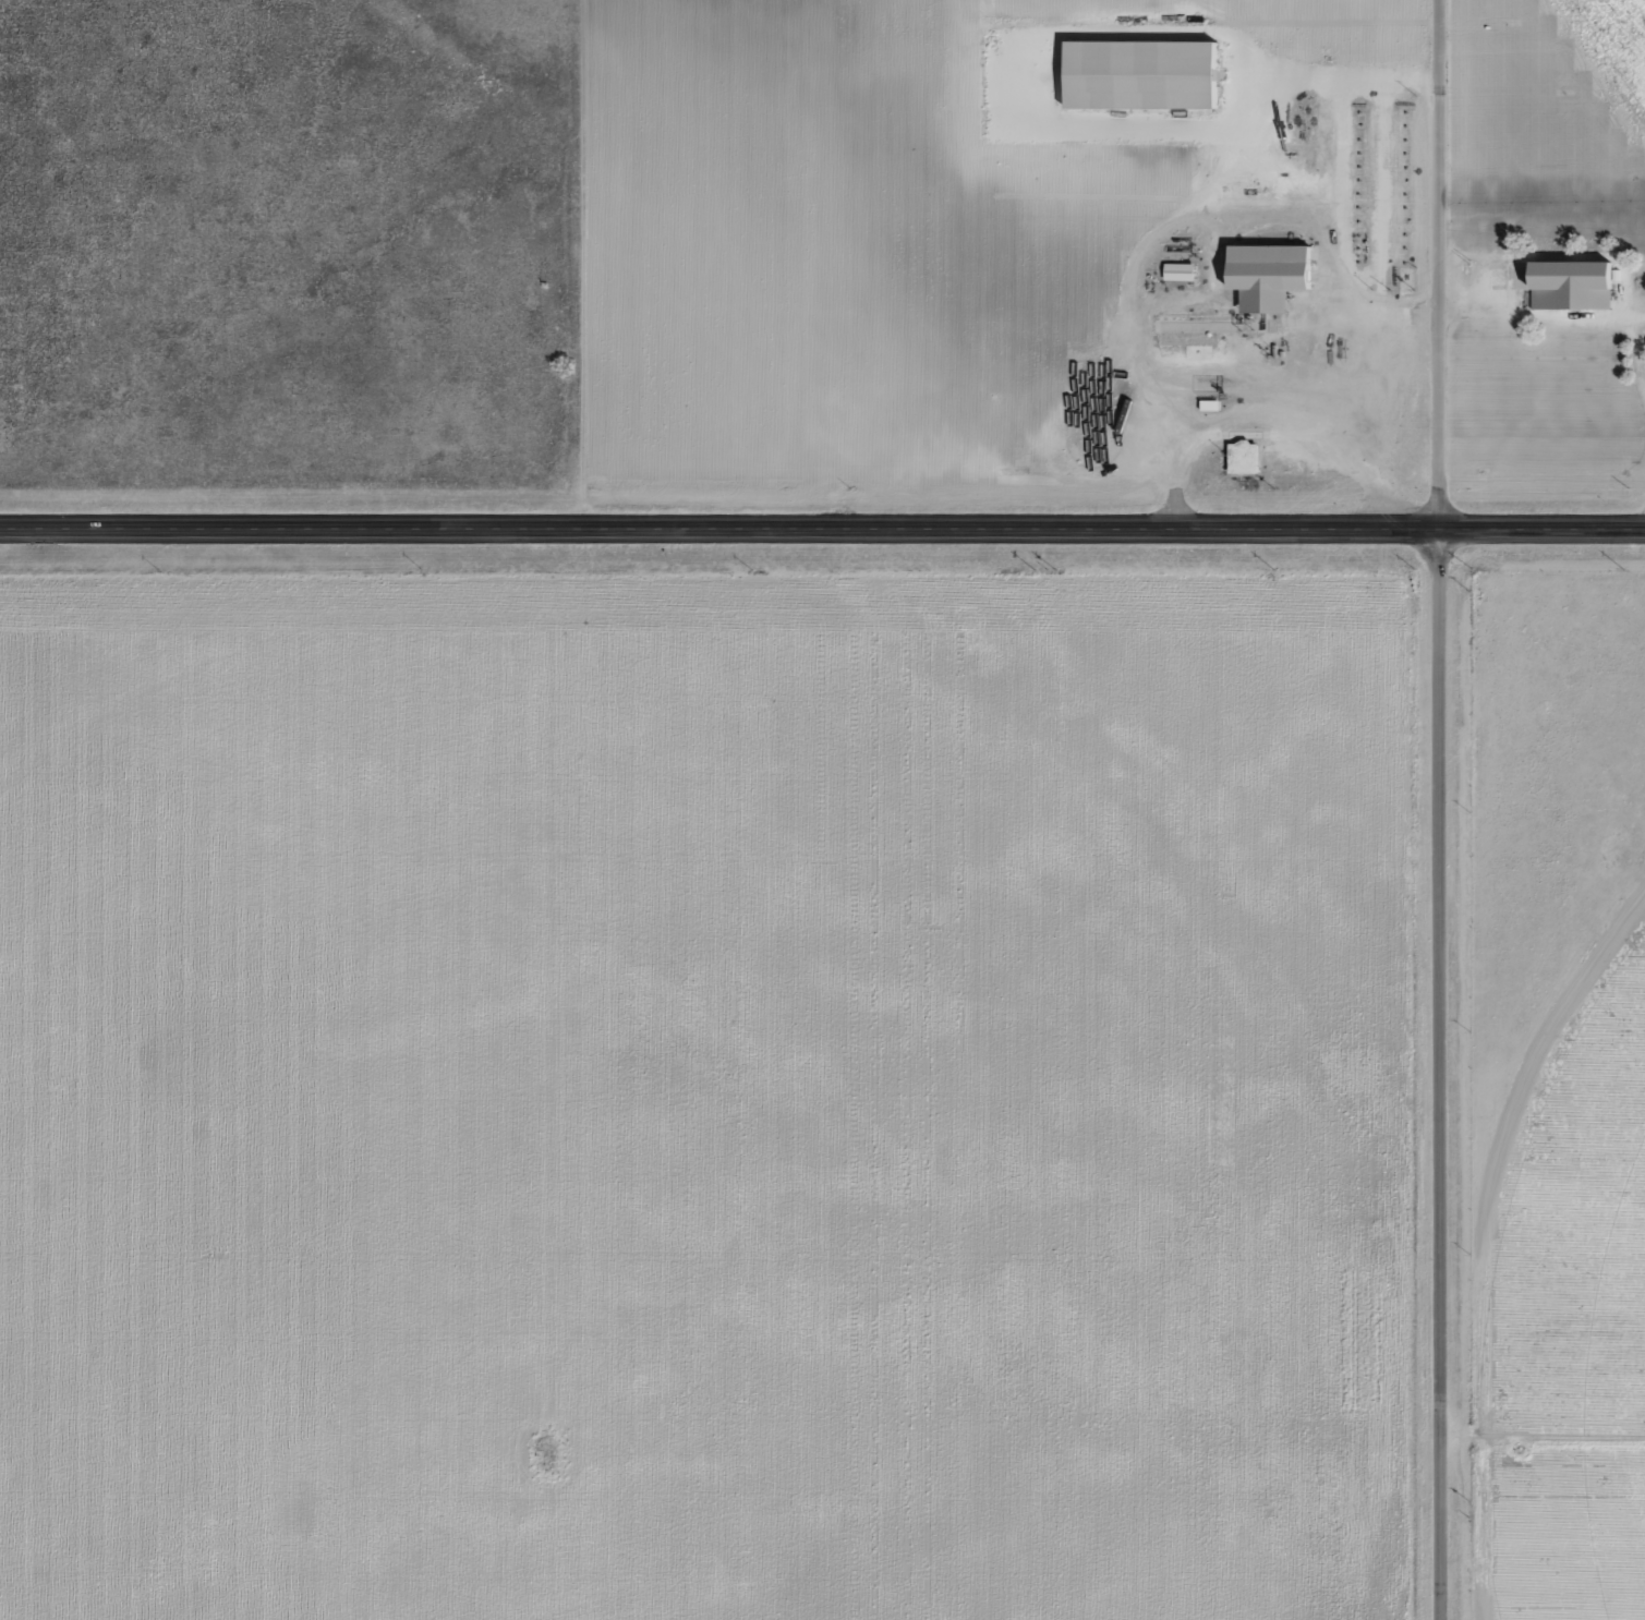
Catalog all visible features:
building: (1142, 75)
building: (1180, 273)
building: (1271, 277)
building: (1573, 288)
road: (1546, 313)
road: (822, 522)
road: (1448, 809)

